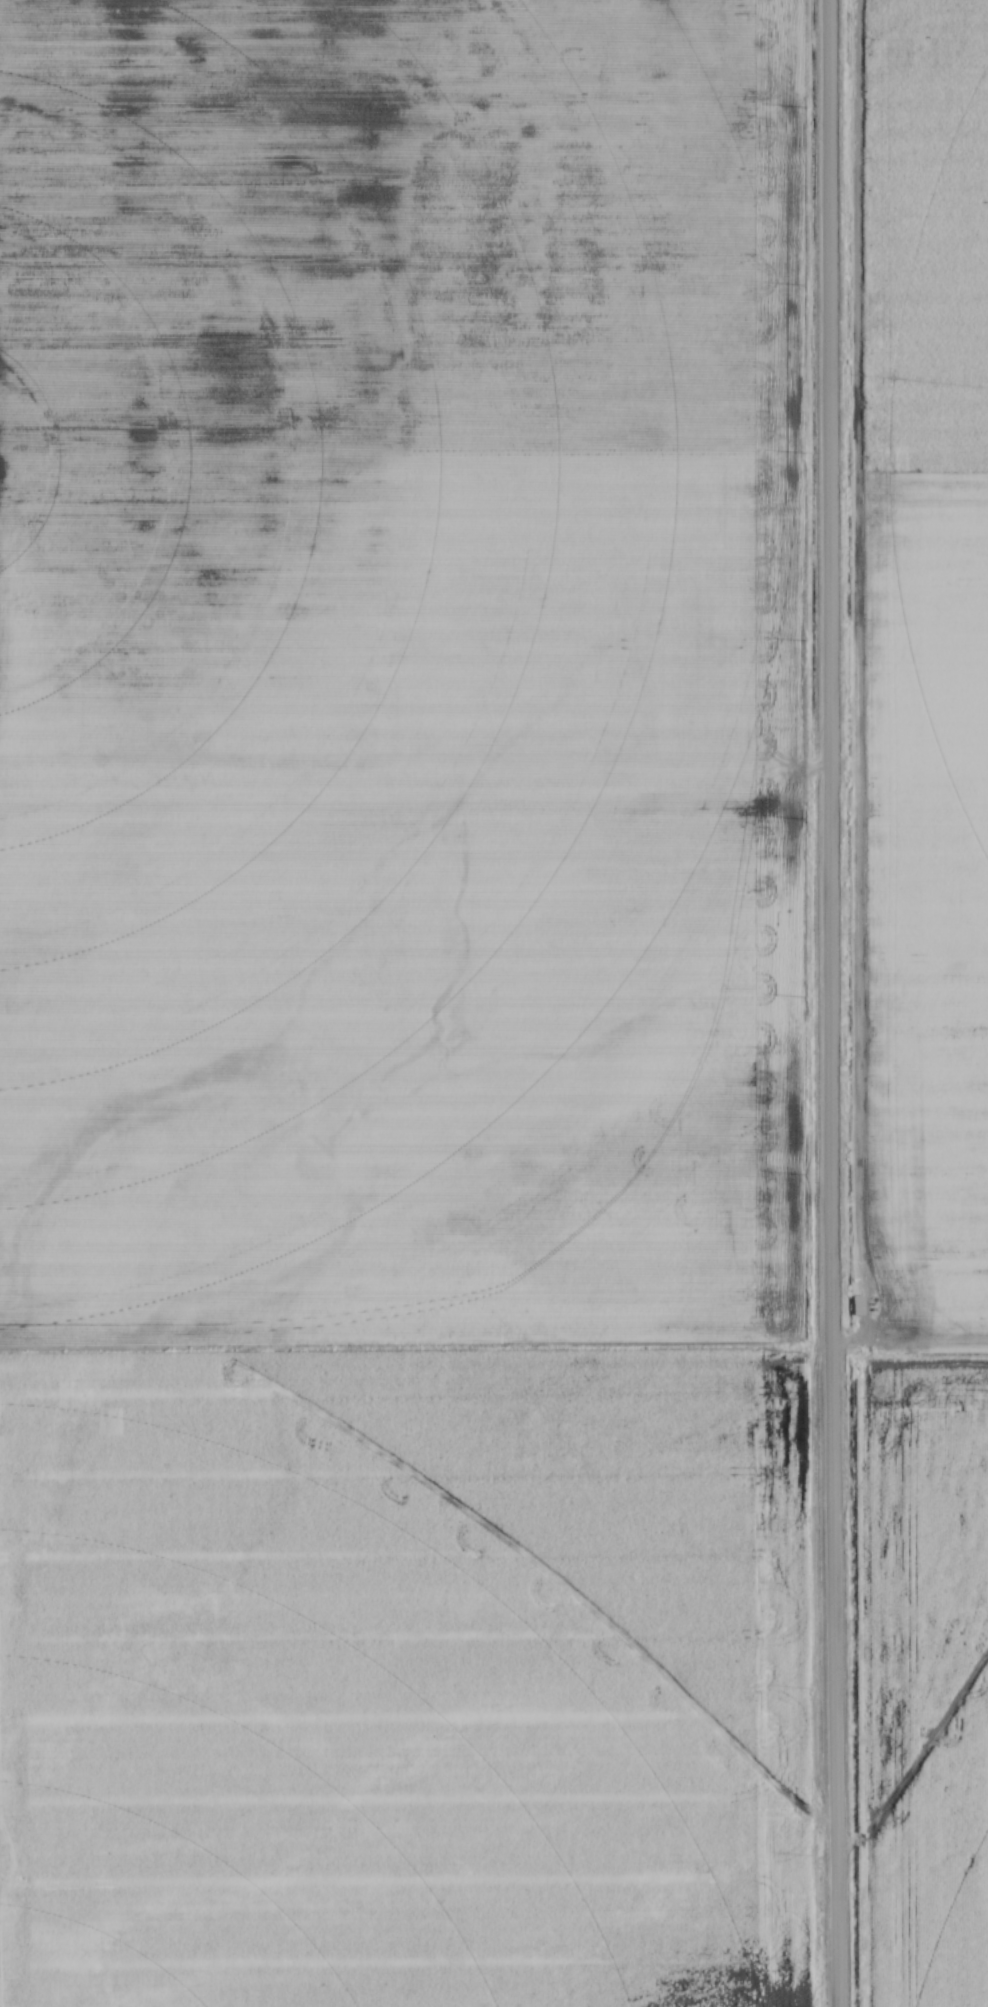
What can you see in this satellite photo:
road: (826, 1003)

